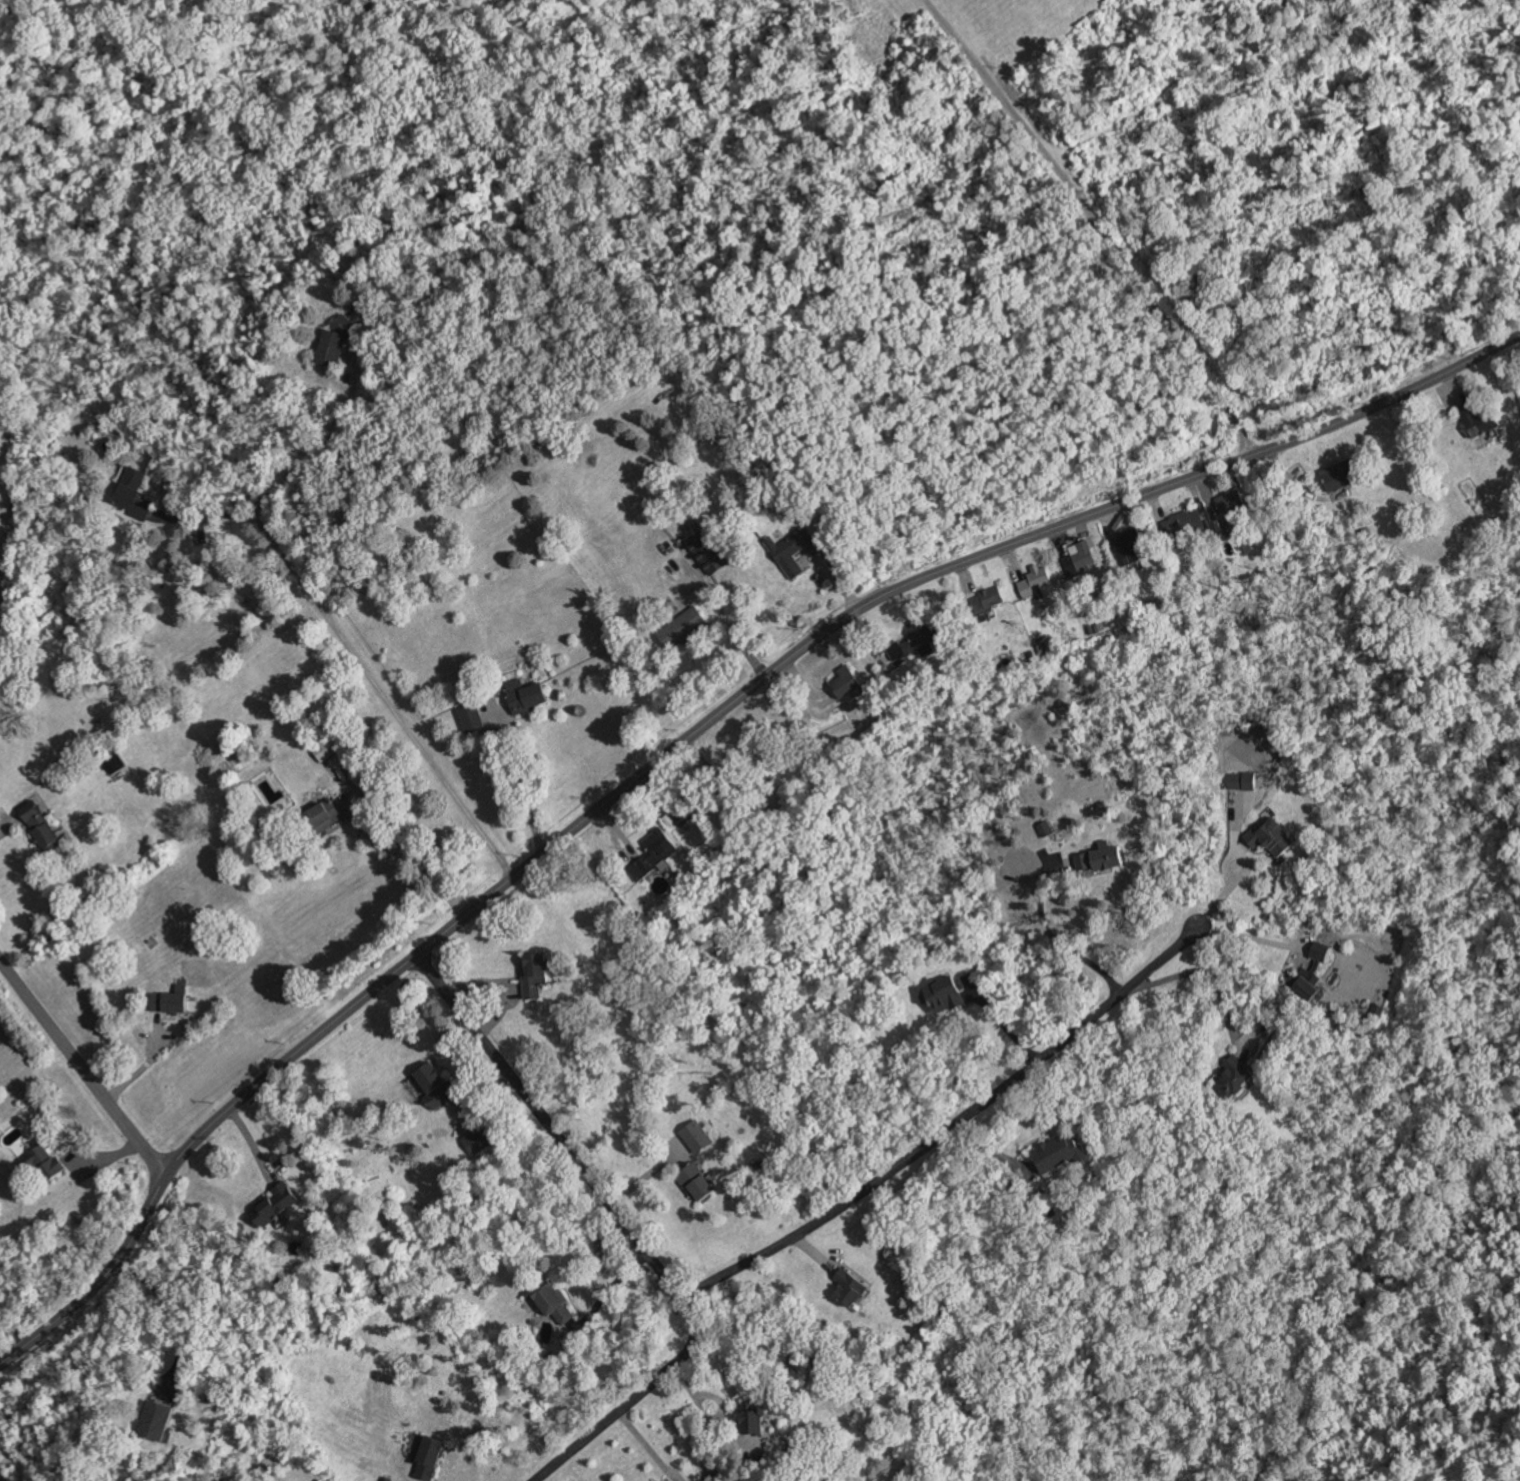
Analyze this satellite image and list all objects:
road: (1096, 222)
building: (334, 343)
building: (1482, 419)
road: (321, 443)
building: (1341, 474)
building: (135, 494)
building: (1231, 501)
road: (210, 516)
building: (1188, 523)
building: (1130, 546)
building: (791, 550)
building: (708, 553)
building: (1079, 558)
building: (1036, 581)
building: (993, 596)
road: (729, 626)
building: (684, 627)
building: (1046, 644)
building: (847, 681)
building: (527, 696)
road: (385, 698)
building: (473, 717)
road: (684, 740)
building: (1245, 780)
road: (523, 790)
building: (327, 813)
building: (684, 815)
road: (10, 823)
building: (41, 825)
building: (1046, 828)
building: (1273, 836)
road: (400, 853)
building: (654, 853)
building: (1103, 858)
road: (1240, 877)
road: (1059, 936)
road: (1248, 939)
road: (1202, 972)
building: (1313, 972)
building: (536, 974)
building: (943, 993)
building: (172, 1000)
road: (1002, 1020)
road: (144, 1065)
road: (81, 1069)
building: (1235, 1077)
building: (437, 1084)
road: (949, 1129)
building: (697, 1136)
building: (479, 1139)
building: (1062, 1152)
building: (47, 1162)
building: (698, 1182)
building: (276, 1204)
road: (628, 1229)
building: (853, 1288)
building: (555, 1302)
road: (173, 1316)
road: (13, 1332)
building: (757, 1419)
building: (157, 1420)
road: (645, 1448)
building: (430, 1457)

